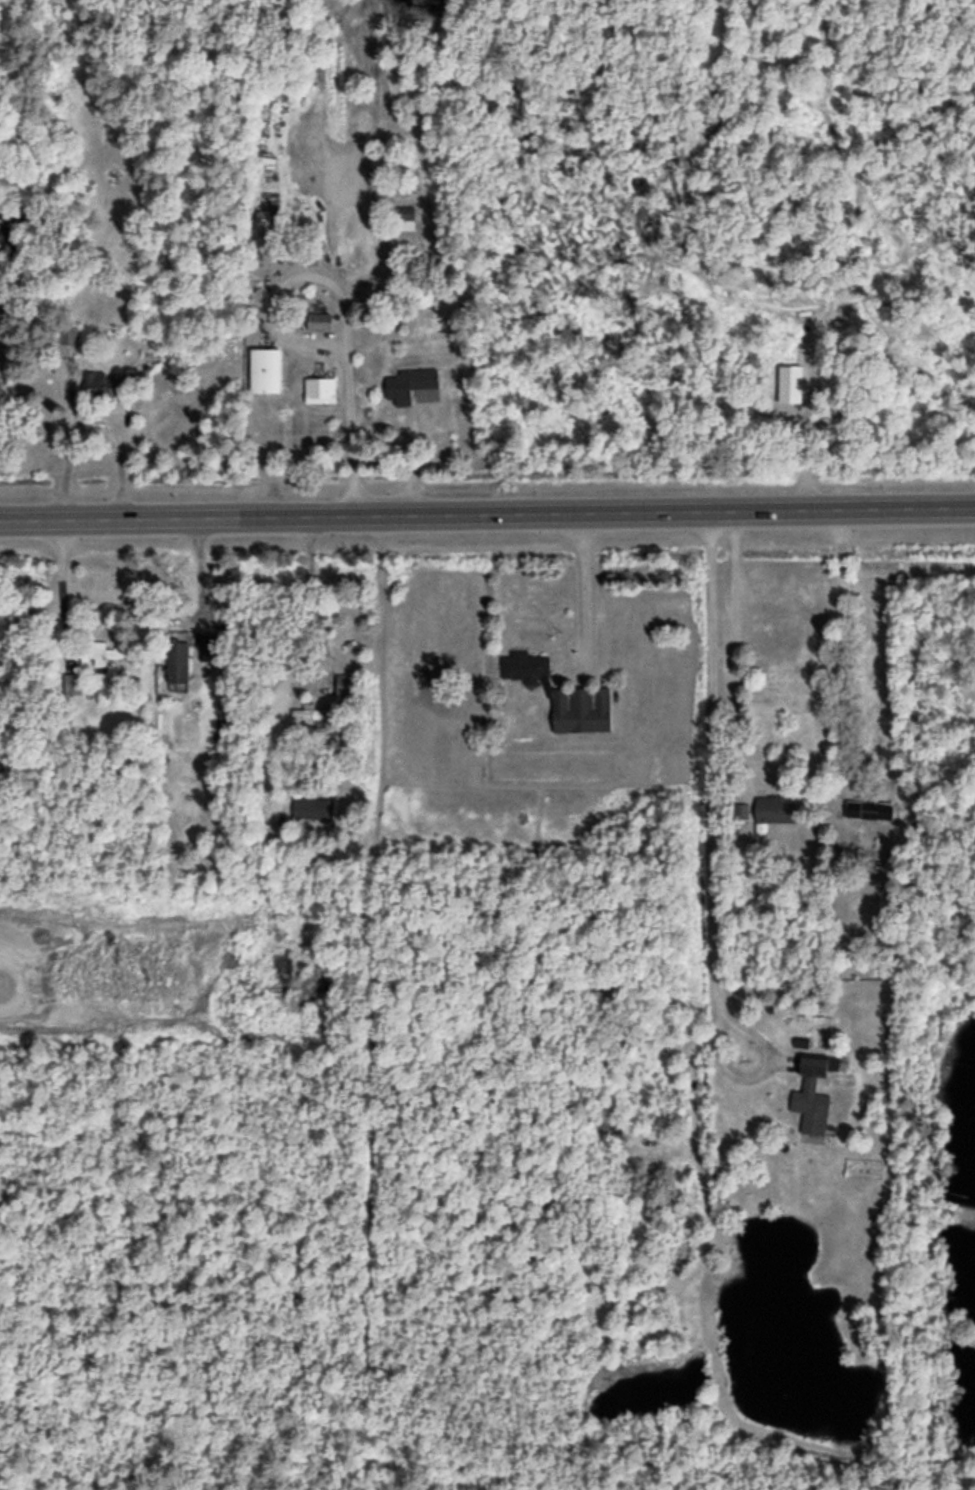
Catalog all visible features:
building: (264, 219)
building: (136, 355)
building: (267, 369)
building: (99, 379)
building: (411, 382)
road: (97, 417)
road: (351, 428)
road: (413, 456)
road: (487, 509)
road: (196, 567)
road: (582, 584)
road: (731, 644)
building: (99, 652)
building: (179, 659)
building: (524, 664)
building: (581, 708)
building: (314, 712)
building: (314, 806)
building: (861, 806)
building: (767, 807)
road: (709, 855)
building: (812, 1093)

